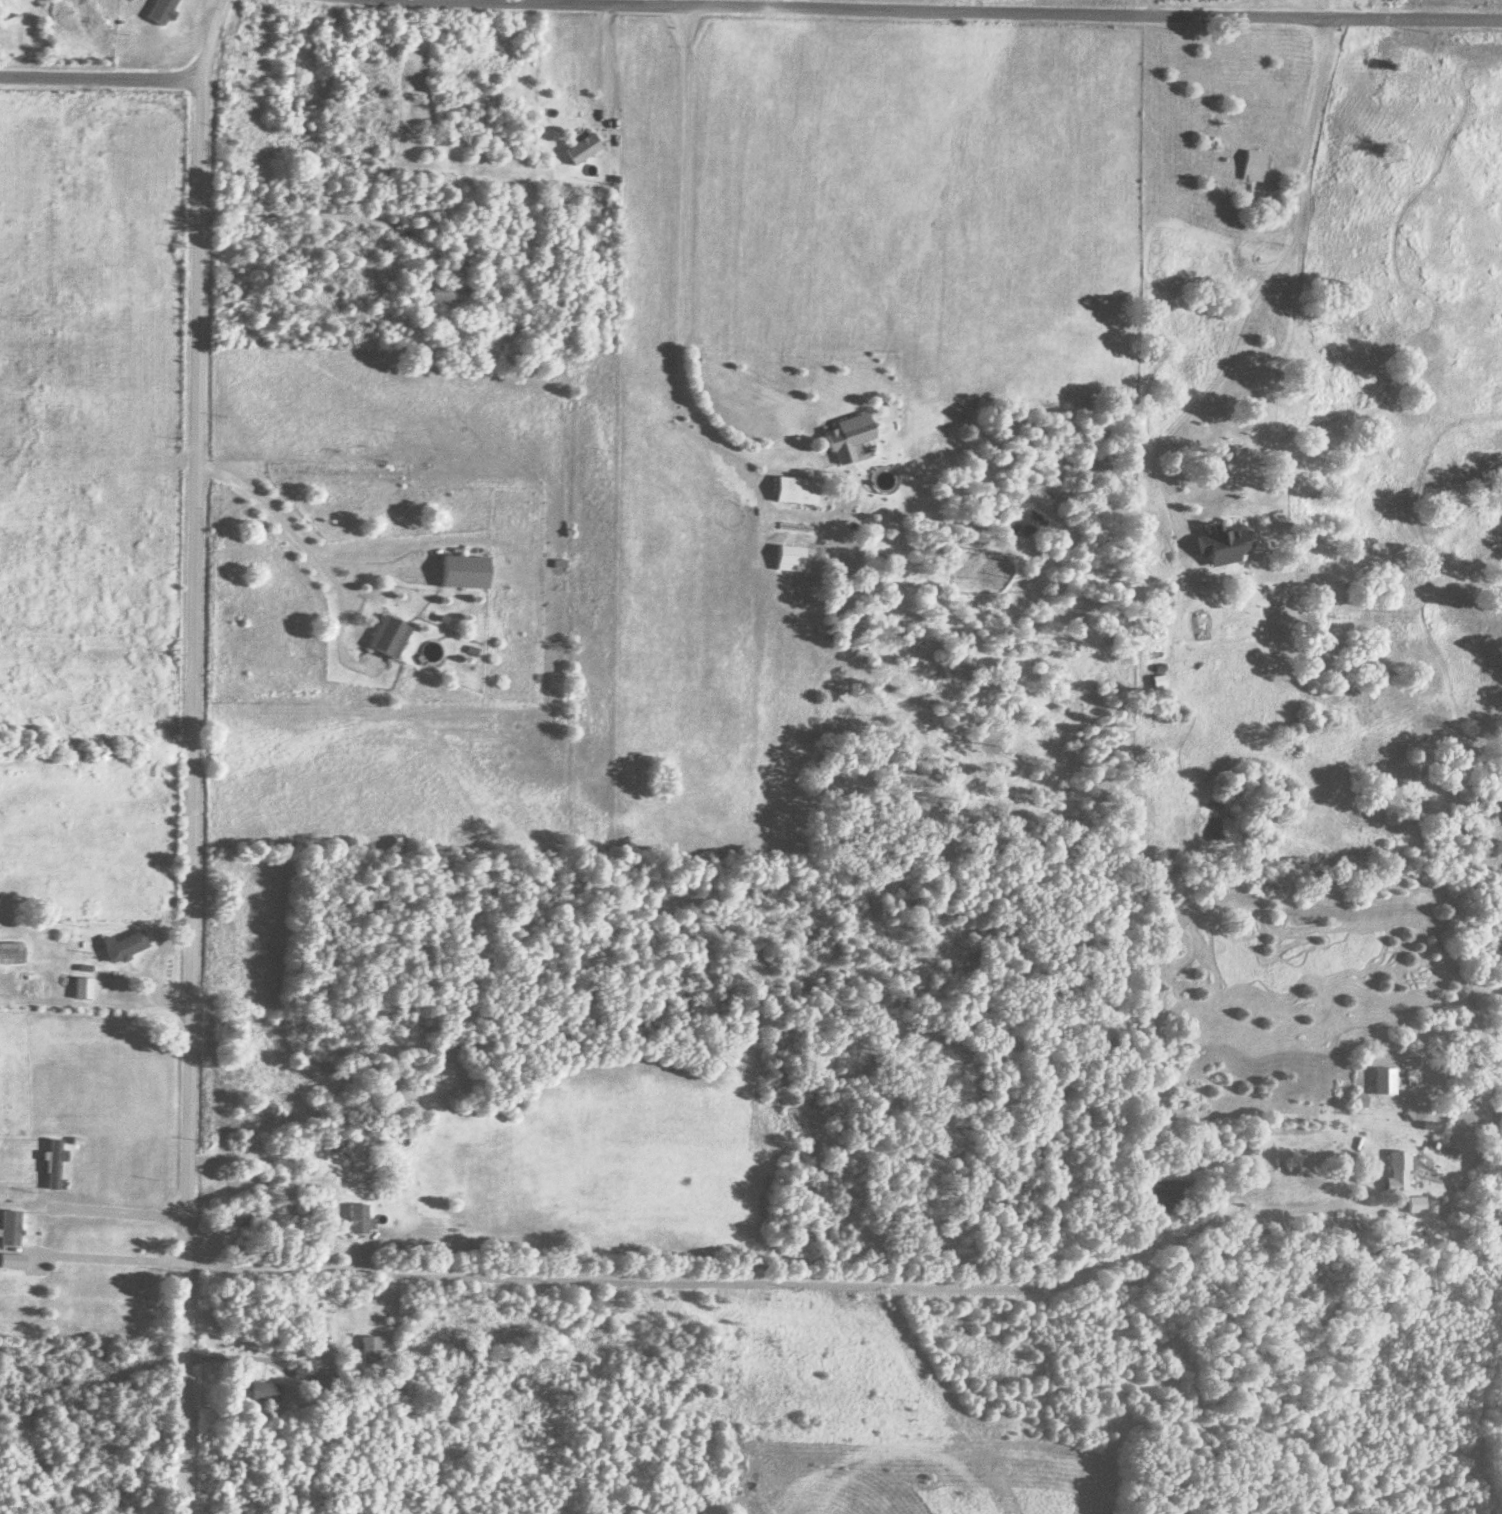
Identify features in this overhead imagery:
road: (664, 4)
road: (1147, 9)
building: (161, 12)
road: (917, 13)
road: (341, 50)
road: (100, 85)
building: (582, 150)
building: (1252, 167)
road: (317, 218)
road: (679, 282)
building: (440, 294)
road: (1248, 304)
building: (849, 438)
road: (295, 471)
building: (797, 491)
building: (1224, 544)
building: (466, 574)
road: (323, 575)
building: (389, 637)
road: (185, 755)
building: (124, 947)
building: (11, 954)
building: (83, 989)
building: (1382, 1082)
building: (331, 1147)
building: (1396, 1172)
building: (157, 1175)
road: (115, 1218)
building: (357, 1220)
road: (107, 1265)
road: (776, 1278)
road: (347, 1318)
building: (367, 1350)
building: (301, 1373)
building: (263, 1393)

